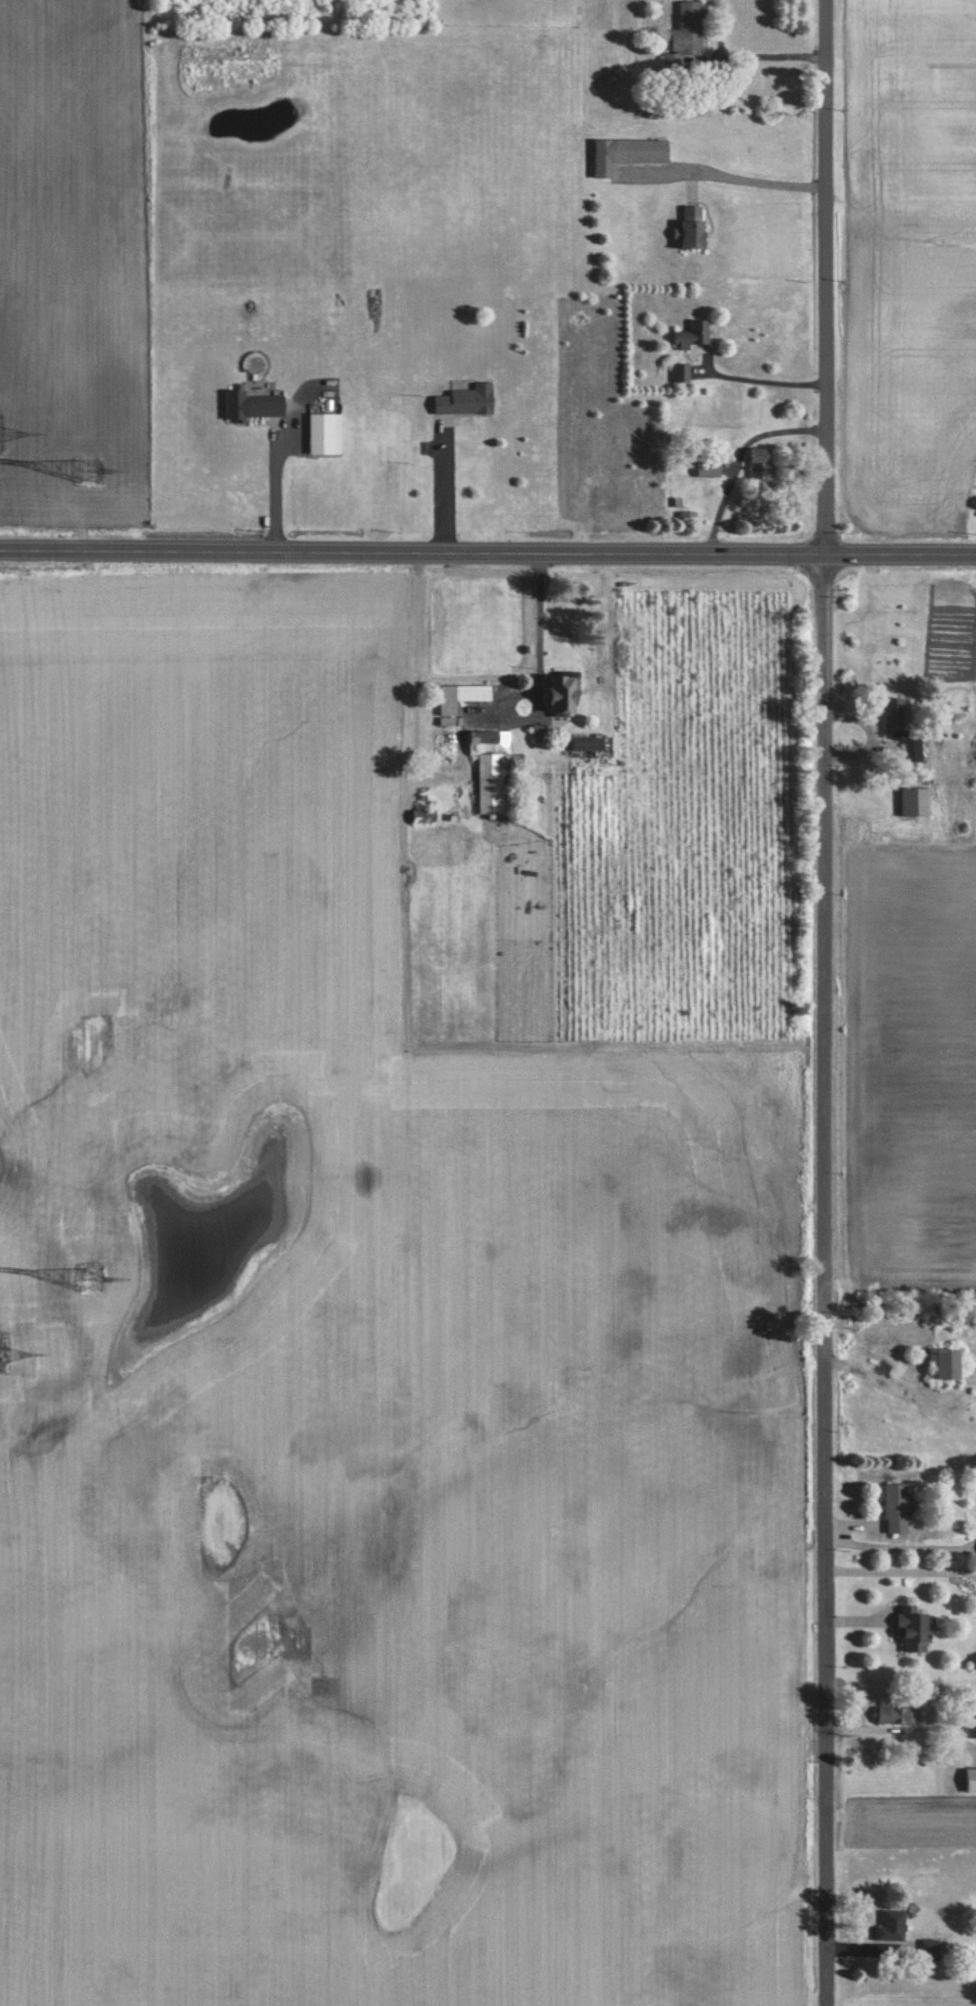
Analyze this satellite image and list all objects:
building: (689, 27)
road: (774, 58)
building: (630, 153)
road: (740, 180)
building: (695, 226)
building: (695, 334)
building: (682, 372)
road: (765, 381)
building: (468, 400)
building: (256, 404)
building: (328, 432)
power tower: (82, 451)
building: (762, 462)
building: (711, 467)
road: (449, 488)
road: (283, 492)
road: (488, 549)
road: (544, 631)
building: (567, 695)
building: (464, 696)
building: (896, 716)
building: (593, 743)
building: (493, 767)
building: (918, 801)
building: (426, 816)
road: (825, 1002)
power tower: (93, 1277)
building: (952, 1365)
road: (879, 1393)
building: (898, 1507)
road: (900, 1544)
building: (915, 1628)
building: (898, 1713)
building: (973, 1717)
building: (972, 1777)
building: (898, 1923)
building: (933, 1949)

